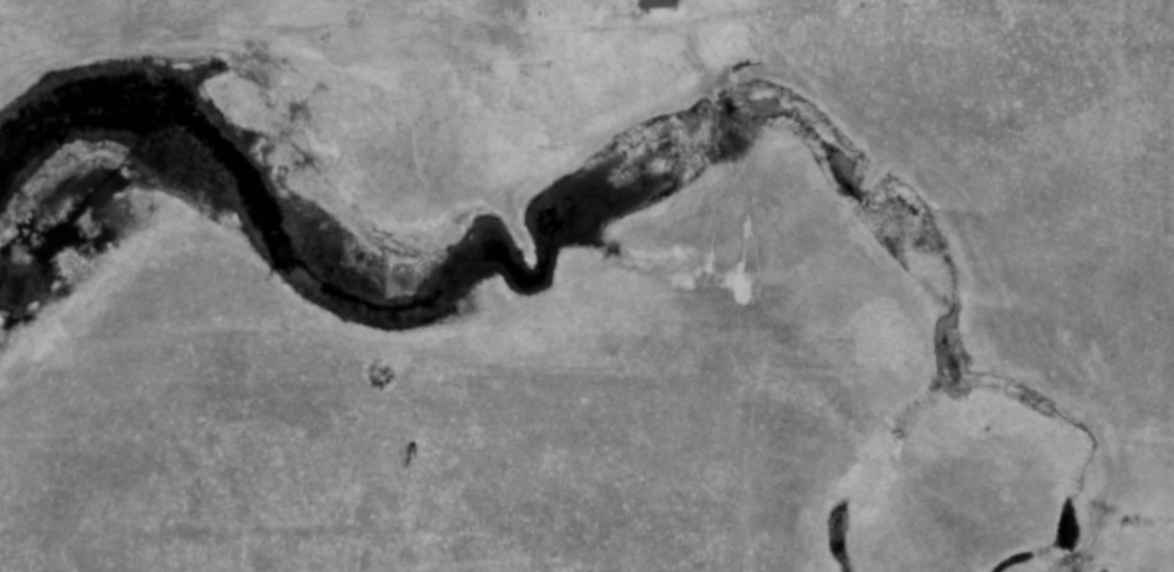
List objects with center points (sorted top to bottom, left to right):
building: (647, 5)

